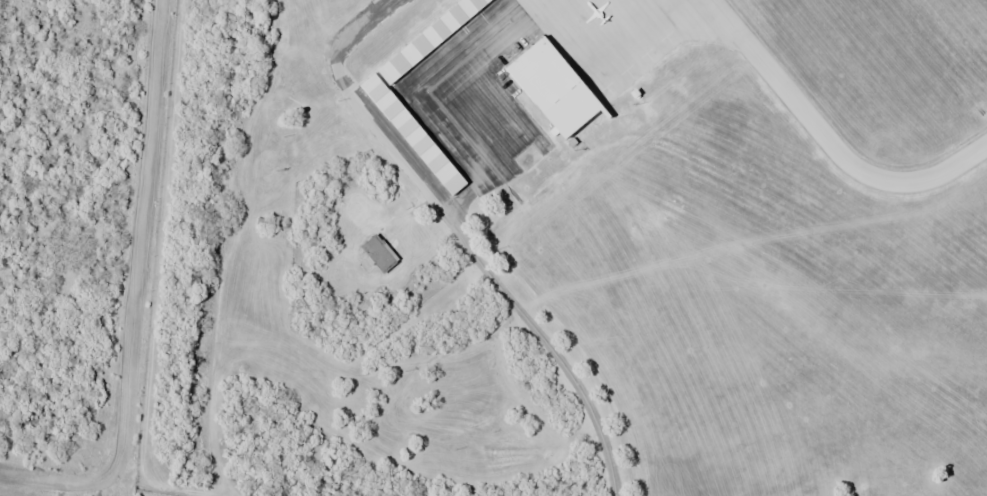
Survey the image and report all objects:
building: (428, 34)
airport apron: (617, 36)
building: (557, 80)
building: (415, 127)
airport taxiway: (834, 142)
building: (266, 223)
building: (375, 254)
road: (484, 276)

